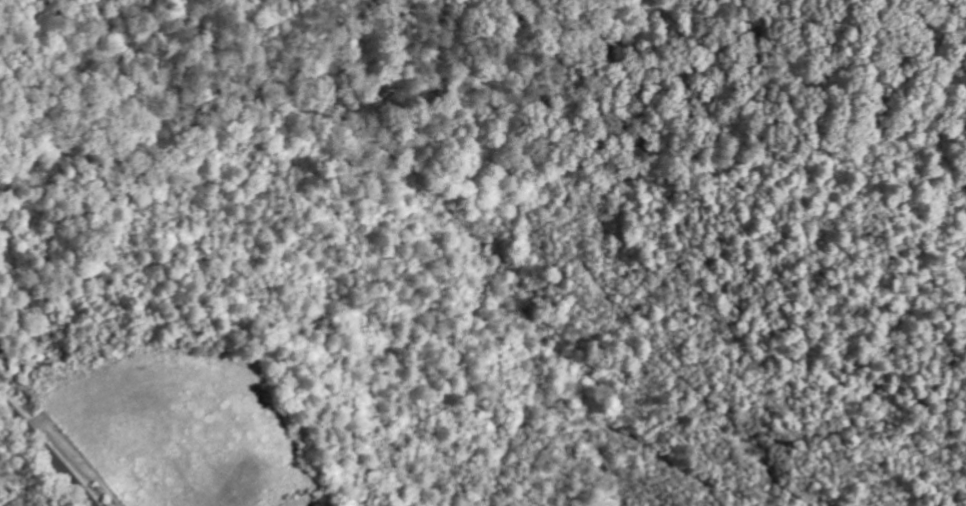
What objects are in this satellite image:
road: (47, 446)

